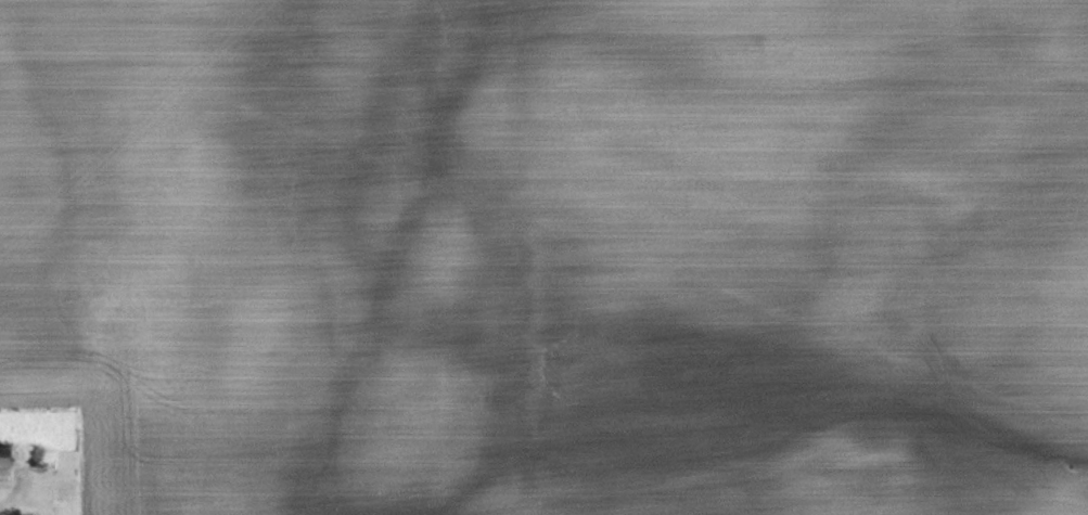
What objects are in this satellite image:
road: (4, 502)

